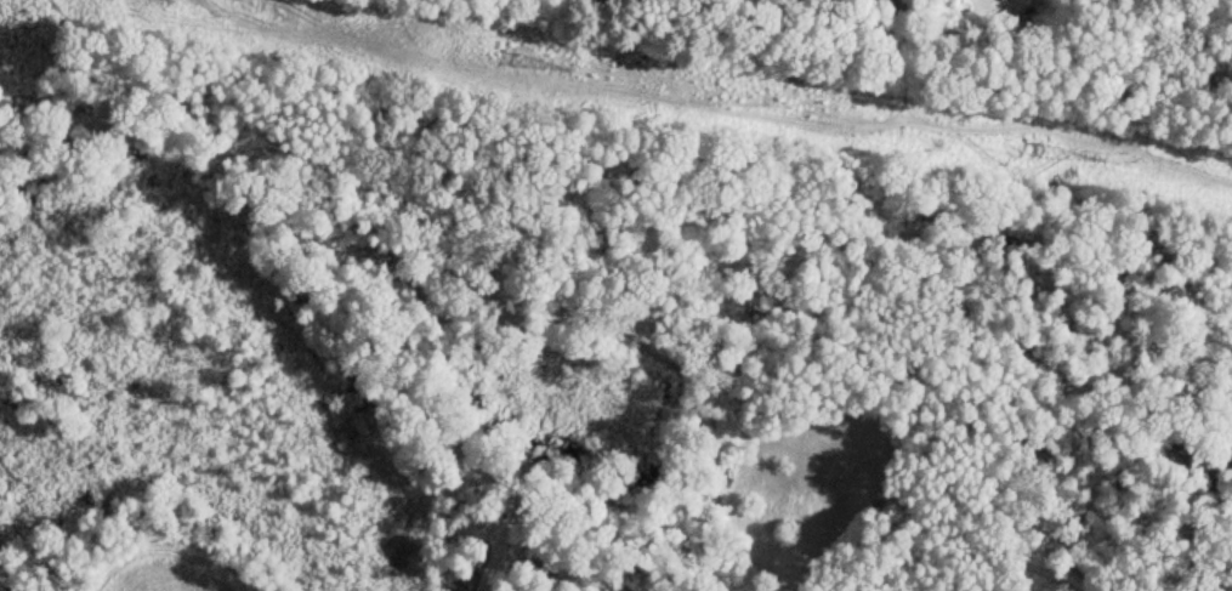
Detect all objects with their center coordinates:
power tower: (504, 58)
power tower: (1023, 147)

